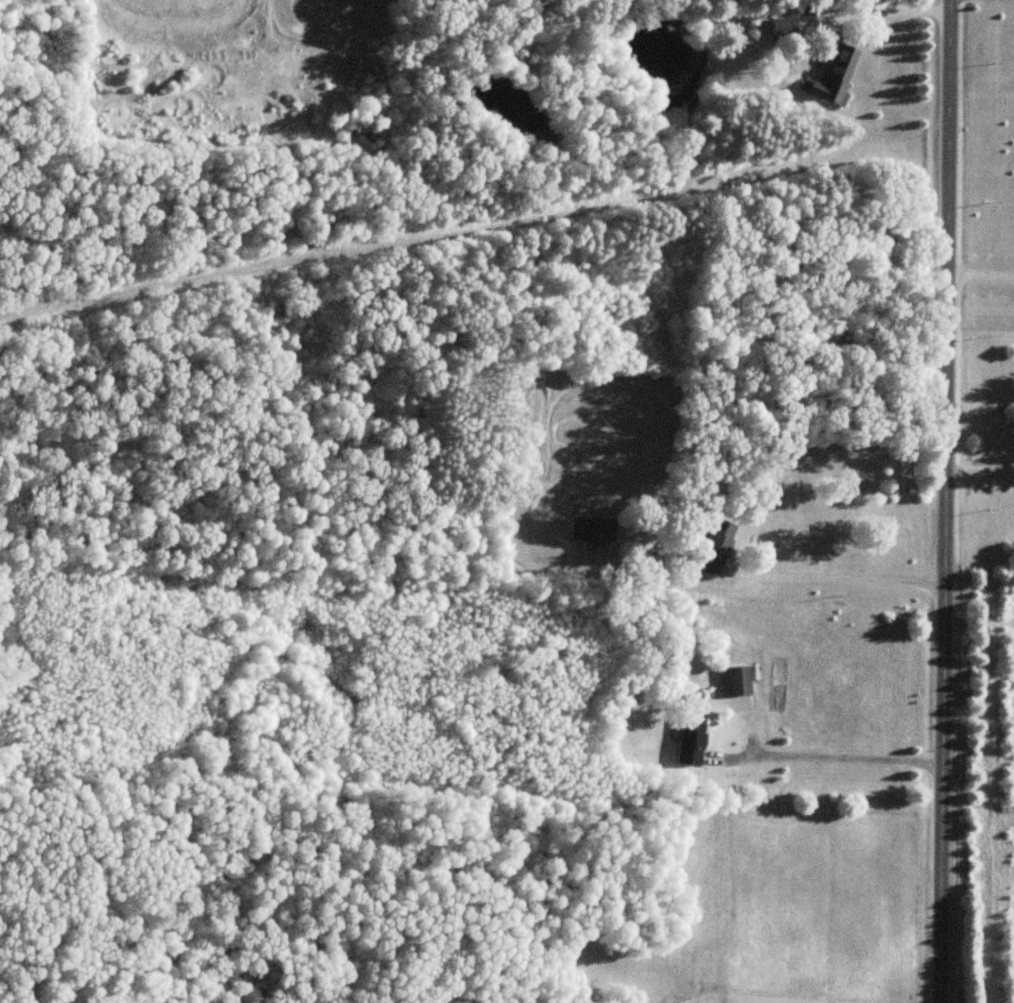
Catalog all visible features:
road: (871, 15)
building: (833, 78)
road: (7, 118)
road: (971, 274)
road: (970, 476)
road: (927, 501)
road: (422, 522)
building: (591, 531)
building: (714, 547)
road: (828, 580)
building: (734, 689)
building: (689, 742)
road: (817, 760)

